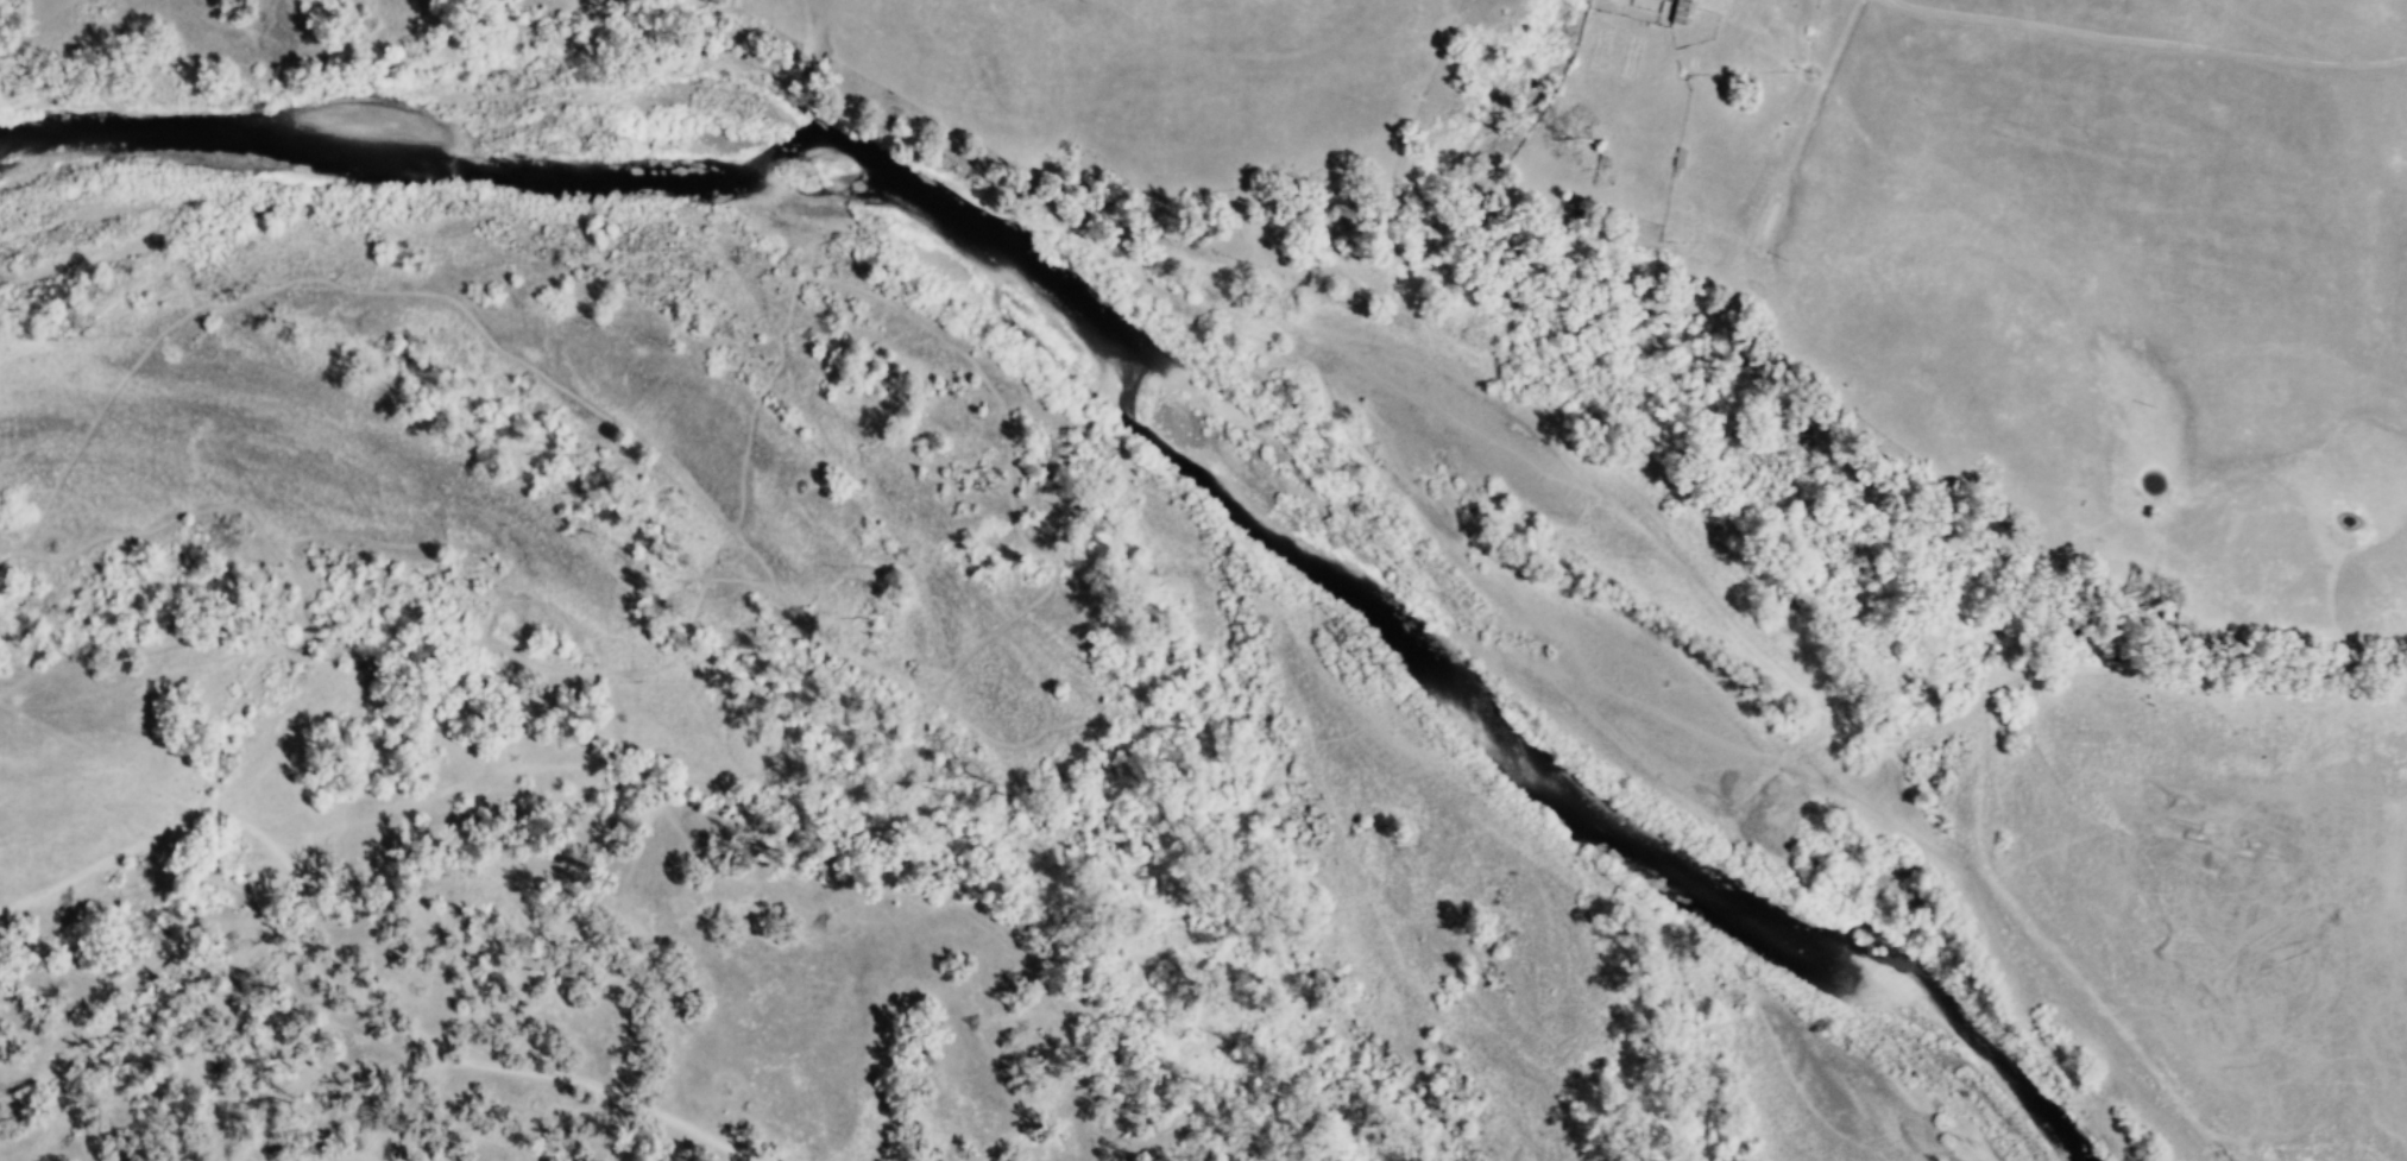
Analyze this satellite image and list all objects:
road: (2148, 43)
river: (521, 84)
river: (1245, 492)
river: (1787, 929)

